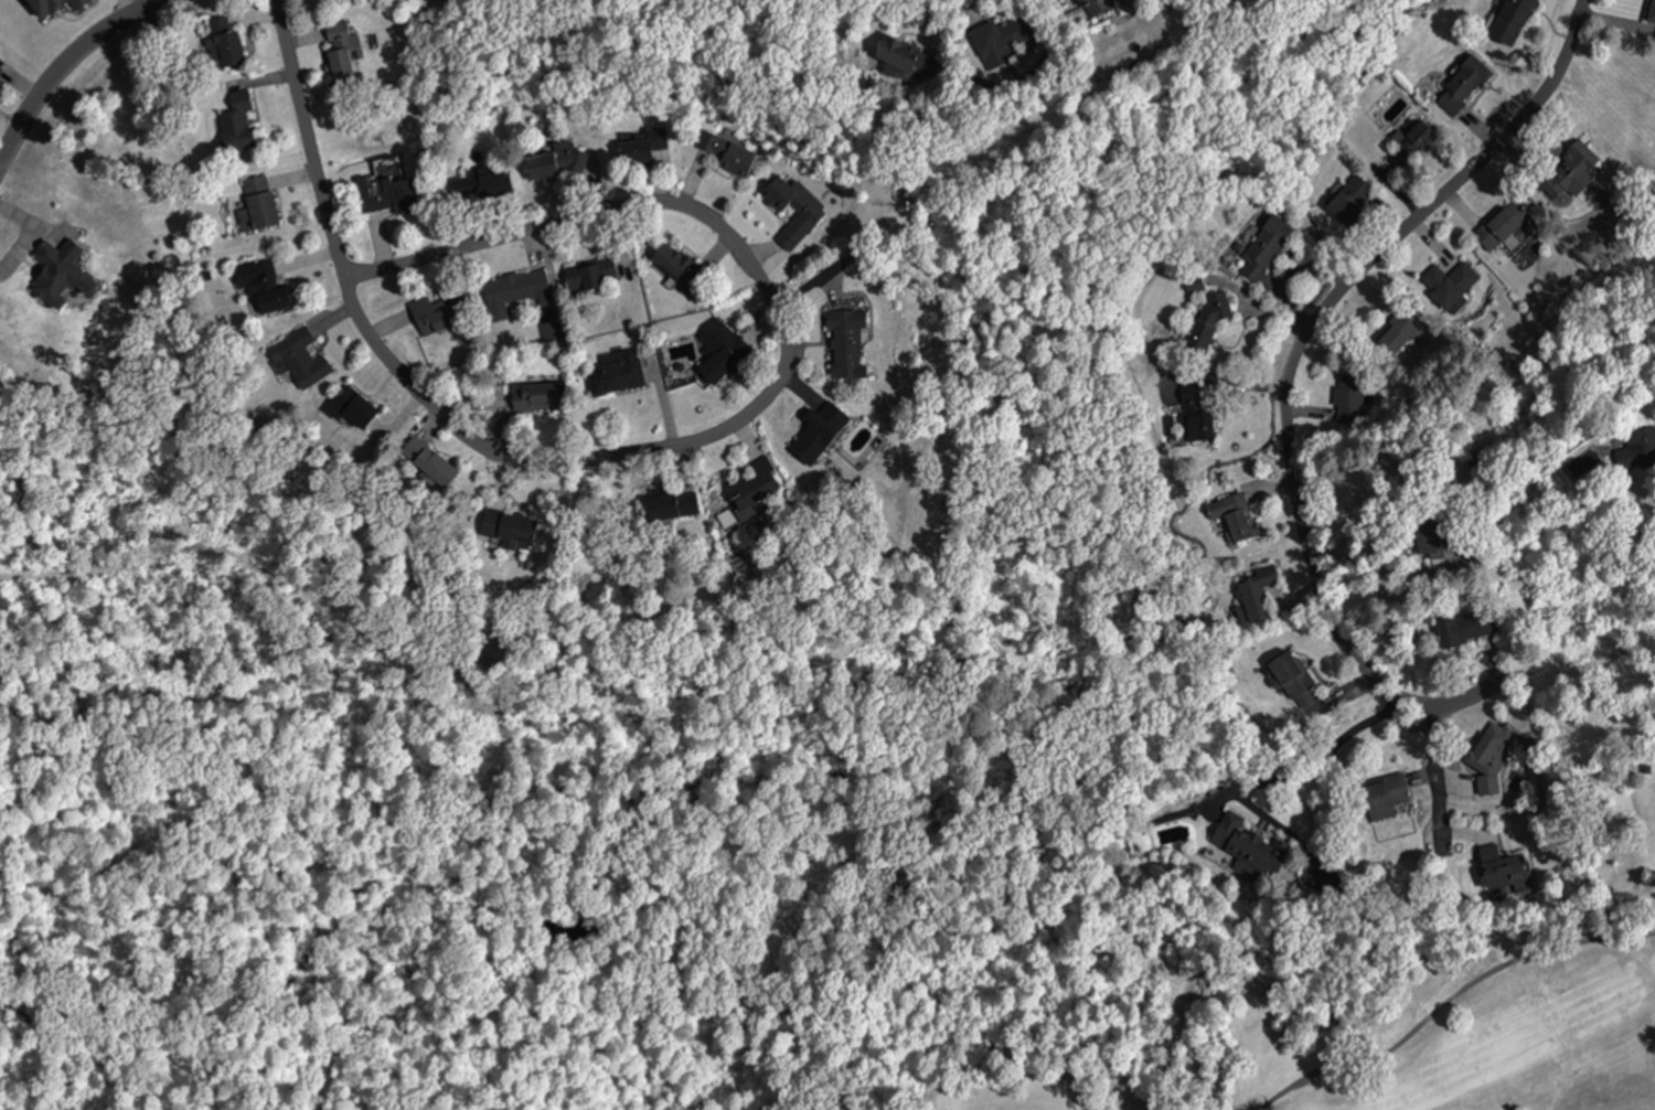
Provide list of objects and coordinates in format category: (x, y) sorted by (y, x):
building: (1083, 2)
building: (1651, 17)
building: (1508, 21)
building: (1001, 39)
building: (227, 49)
building: (339, 51)
building: (904, 58)
road: (61, 66)
building: (1, 83)
building: (1459, 86)
road: (306, 138)
building: (1408, 142)
building: (641, 149)
building: (737, 160)
building: (554, 163)
building: (1565, 173)
building: (485, 186)
building: (391, 198)
building: (789, 200)
building: (259, 202)
building: (1350, 203)
building: (1496, 228)
building: (1262, 249)
building: (674, 271)
building: (60, 275)
building: (590, 277)
building: (1452, 285)
building: (264, 287)
building: (514, 292)
building: (436, 313)
building: (1198, 337)
building: (1390, 340)
building: (845, 343)
building: (720, 351)
building: (296, 359)
road: (1288, 371)
building: (613, 377)
building: (1348, 399)
building: (534, 401)
road: (759, 402)
building: (355, 410)
building: (818, 431)
building: (1641, 448)
building: (427, 463)
building: (751, 489)
building: (671, 505)
building: (1231, 519)
building: (510, 527)
building: (1430, 540)
building: (1257, 577)
building: (1464, 629)
building: (1290, 674)
building: (1484, 753)
building: (1382, 797)
building: (1238, 839)
building: (1506, 873)
park: (1307, 1032)

